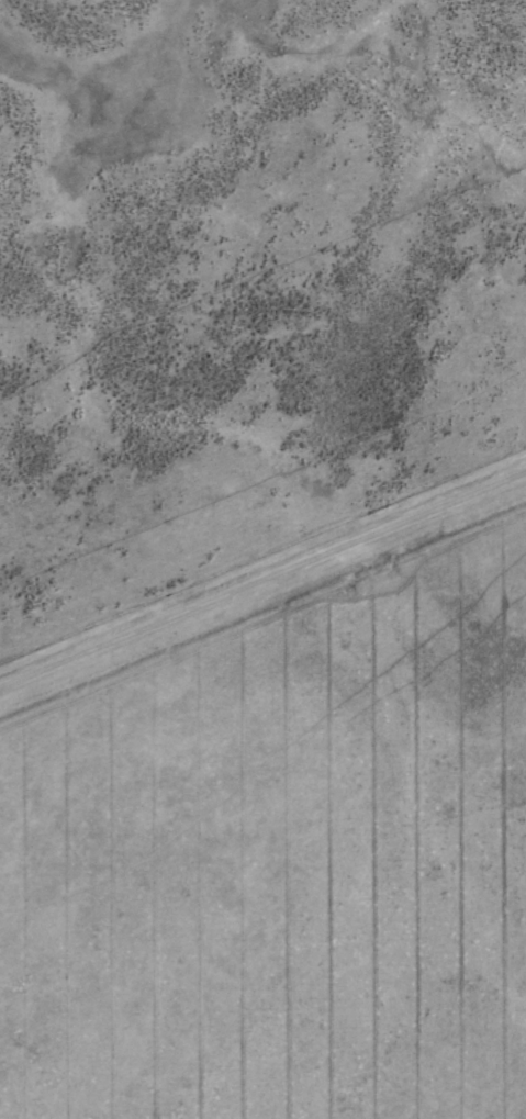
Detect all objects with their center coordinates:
crop: (246, 311)
road: (262, 564)
crop: (282, 862)

